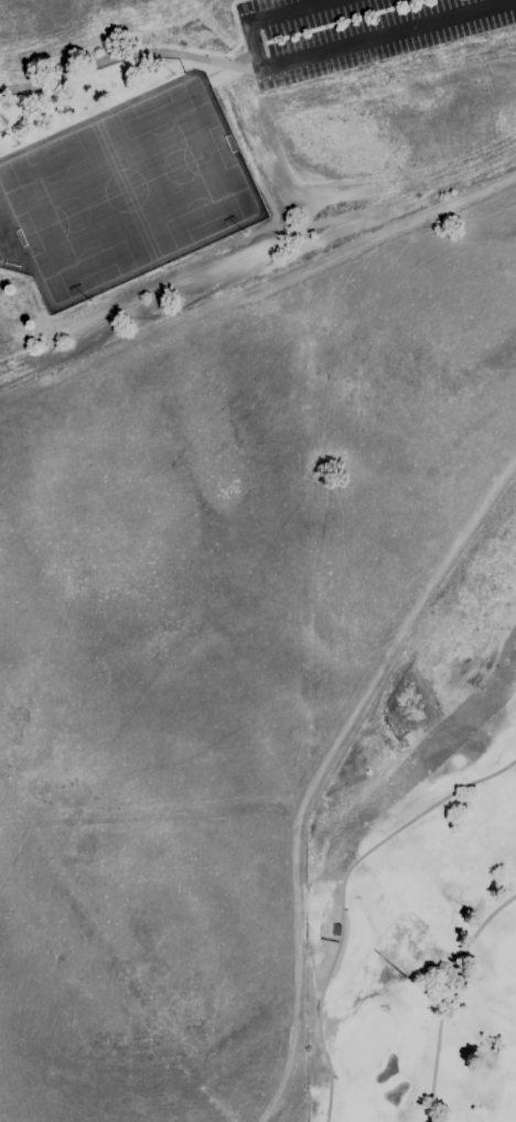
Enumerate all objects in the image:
road: (325, 55)
park: (222, 146)
park: (234, 644)
road: (340, 896)
park: (418, 921)
road: (442, 995)

